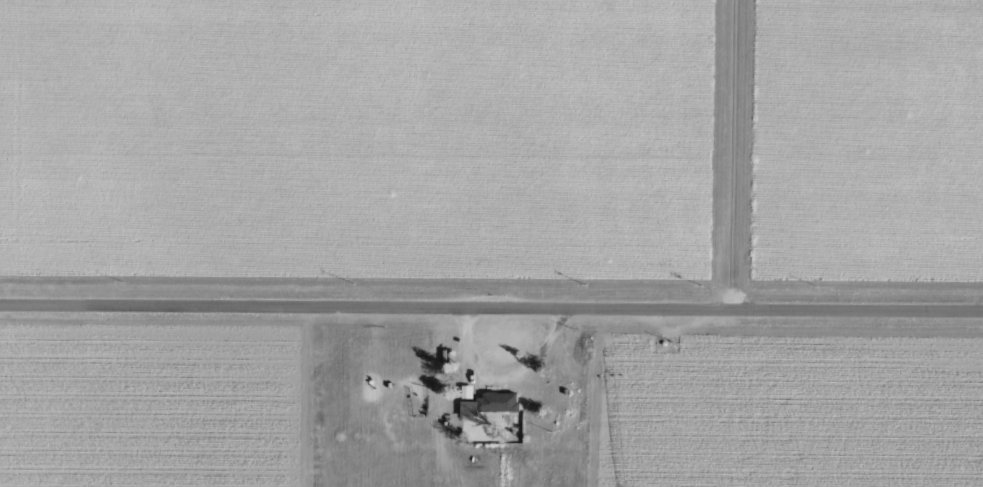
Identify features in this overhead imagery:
road: (491, 305)

